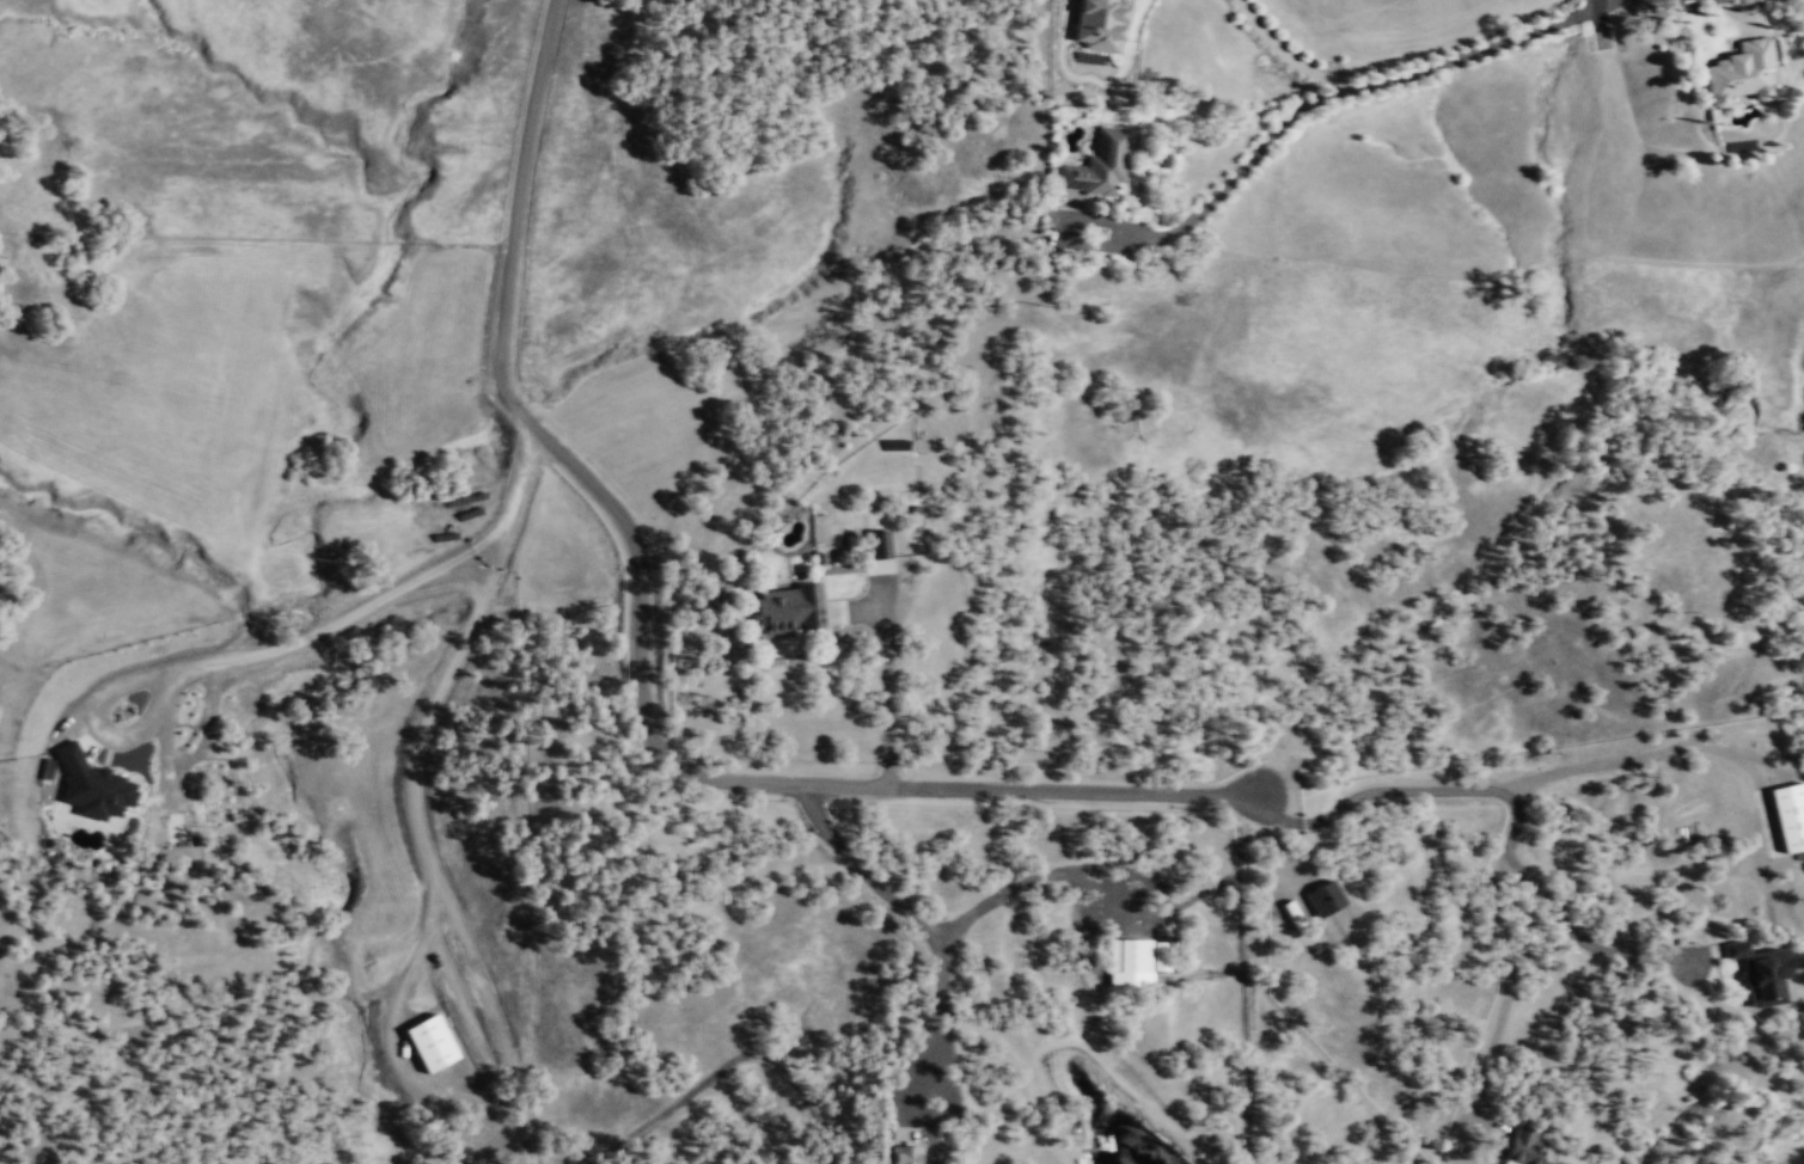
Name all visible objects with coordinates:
road: (1736, 17)
road: (1598, 23)
building: (1095, 24)
road: (1282, 53)
building: (1741, 71)
road: (1310, 100)
building: (1097, 164)
building: (877, 545)
building: (788, 607)
road: (291, 642)
road: (643, 653)
road: (886, 680)
road: (204, 724)
road: (1706, 746)
road: (165, 756)
building: (45, 770)
building: (91, 783)
road: (1406, 790)
building: (1788, 813)
road: (422, 840)
road: (1280, 854)
road: (858, 870)
building: (1322, 896)
building: (1291, 913)
road: (938, 932)
road: (1589, 945)
building: (1132, 961)
building: (1760, 969)
road: (1505, 987)
road: (727, 1061)
building: (1524, 1146)
building: (904, 1153)
building: (454, 1163)

